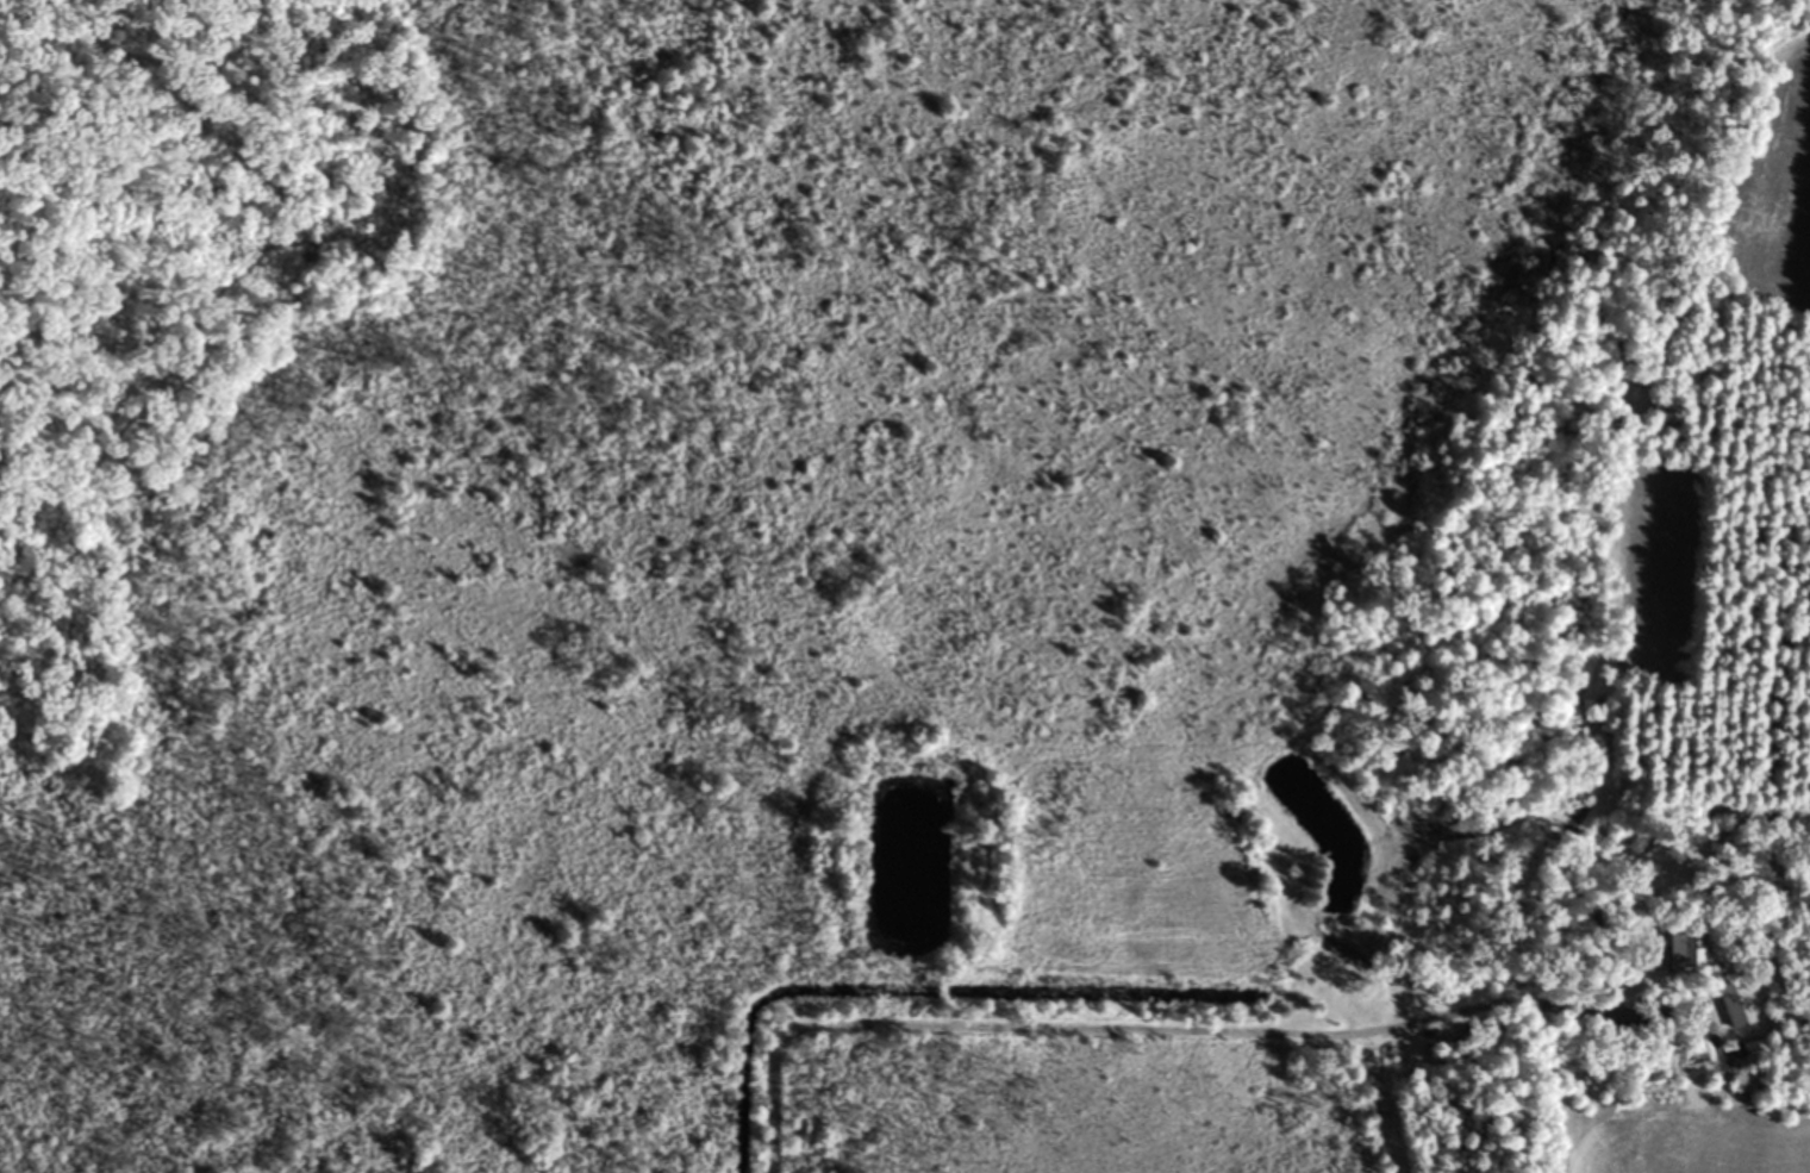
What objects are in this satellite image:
park: (174, 24)
building: (1680, 948)
building: (1734, 1003)

